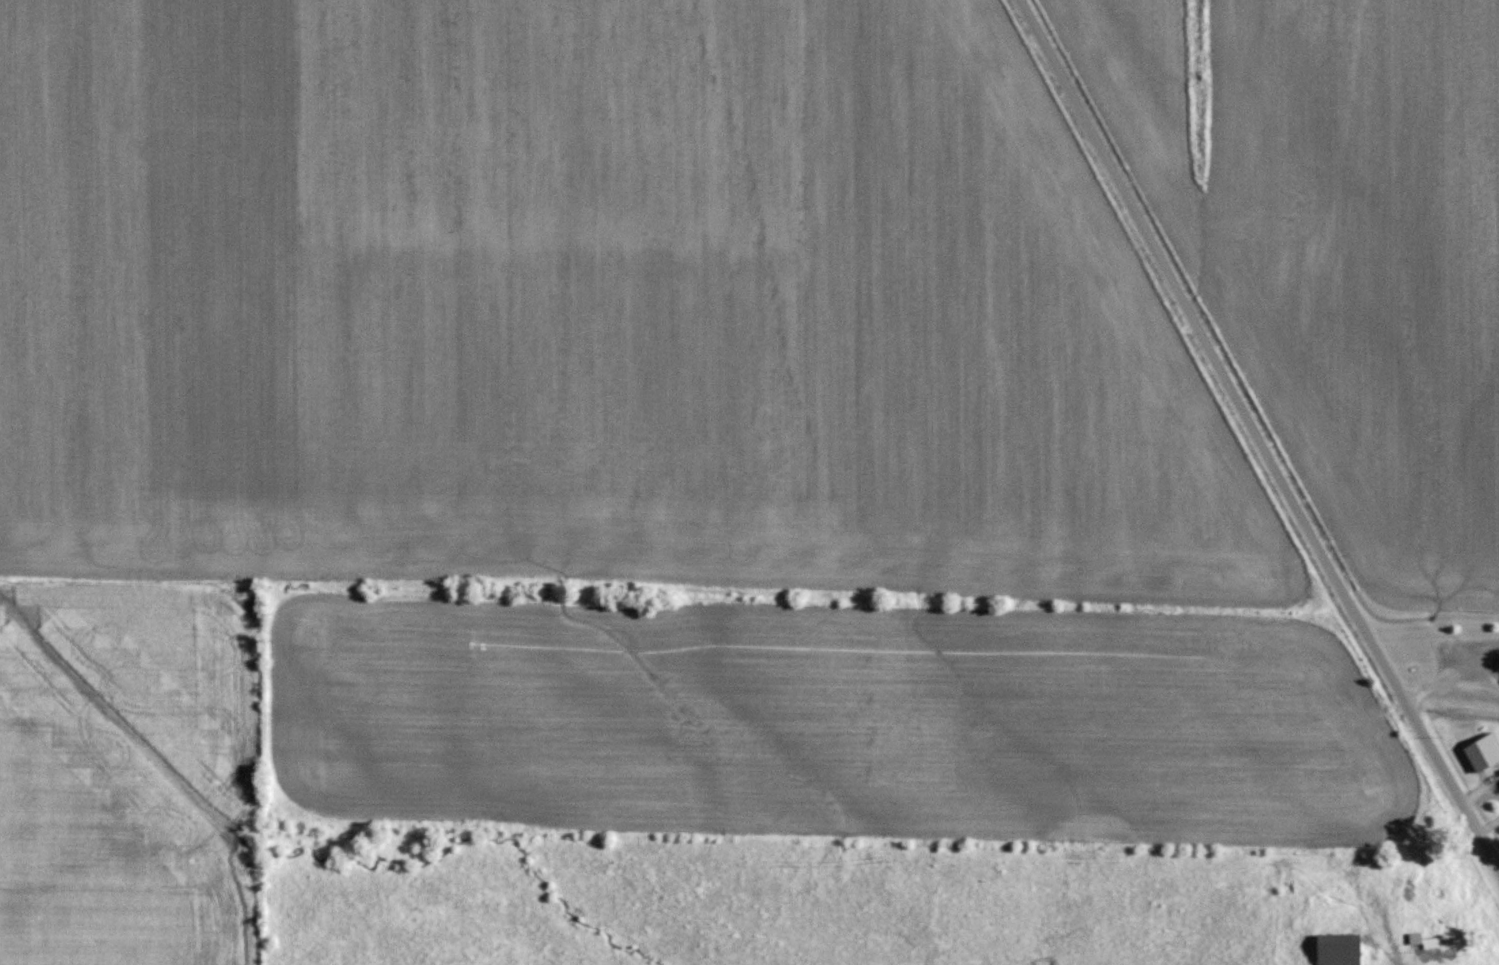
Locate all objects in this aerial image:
road: (1256, 435)
building: (1337, 948)

